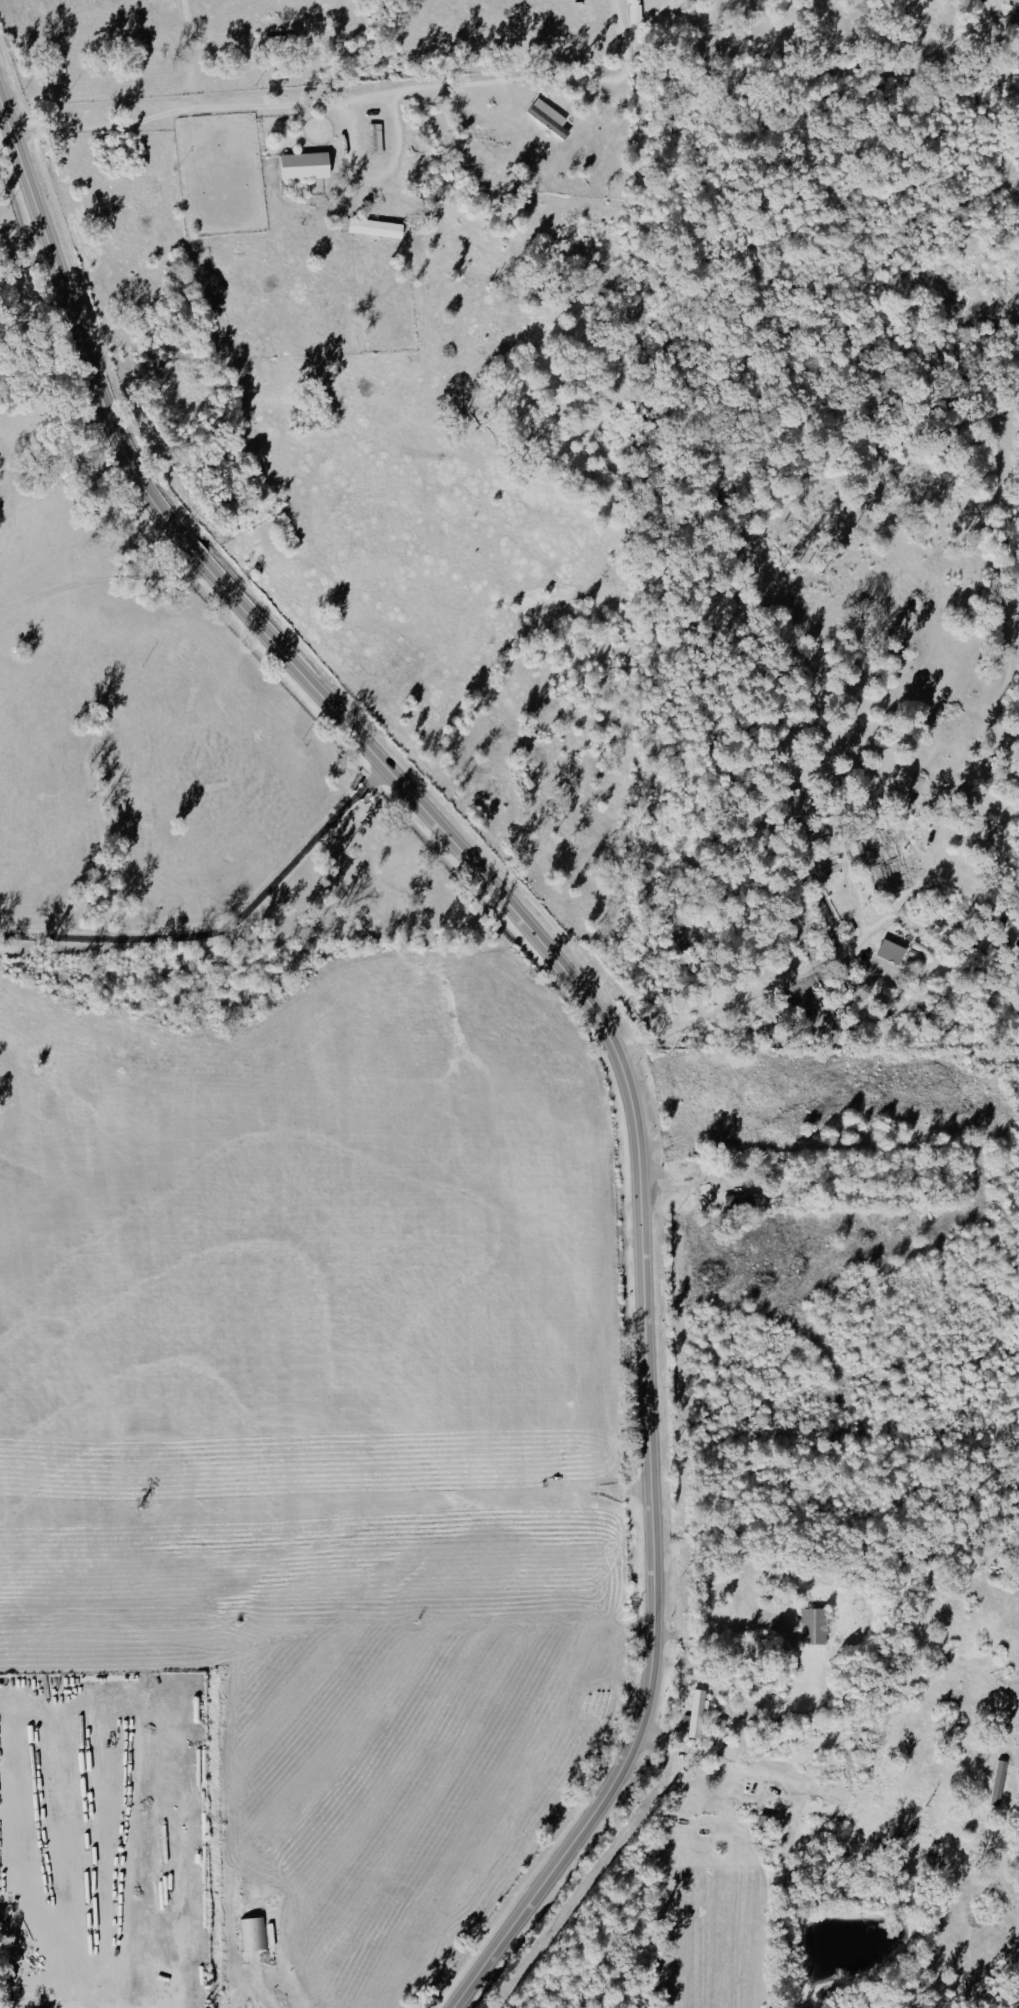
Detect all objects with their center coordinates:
building: (635, 12)
road: (460, 88)
road: (370, 102)
building: (548, 116)
road: (178, 118)
building: (304, 164)
road: (23, 248)
building: (804, 844)
building: (826, 921)
road: (228, 933)
building: (892, 951)
road: (784, 985)
road: (586, 994)
building: (747, 1198)
building: (814, 1625)
road: (720, 1629)
building: (696, 1712)
building: (719, 1730)
road: (665, 1864)
building: (253, 1937)
road: (276, 1995)

